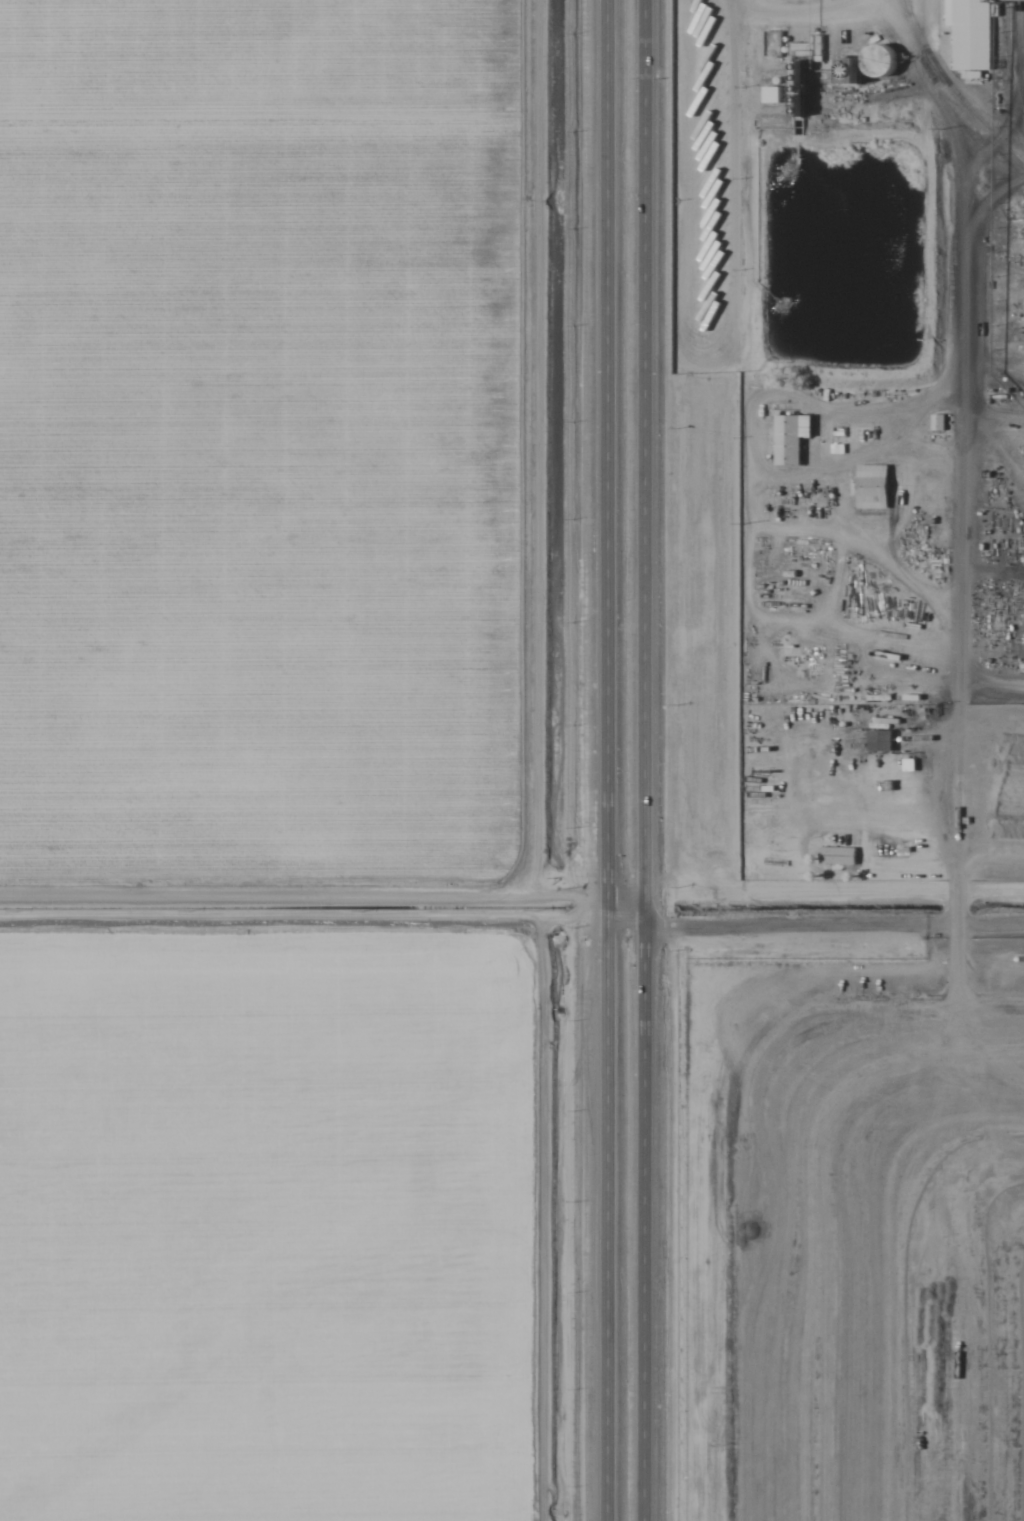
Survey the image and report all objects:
building: (969, 33)
building: (772, 43)
building: (864, 66)
building: (772, 95)
railway: (920, 143)
building: (937, 422)
building: (787, 440)
building: (872, 487)
road: (599, 760)
road: (641, 760)
building: (837, 856)

